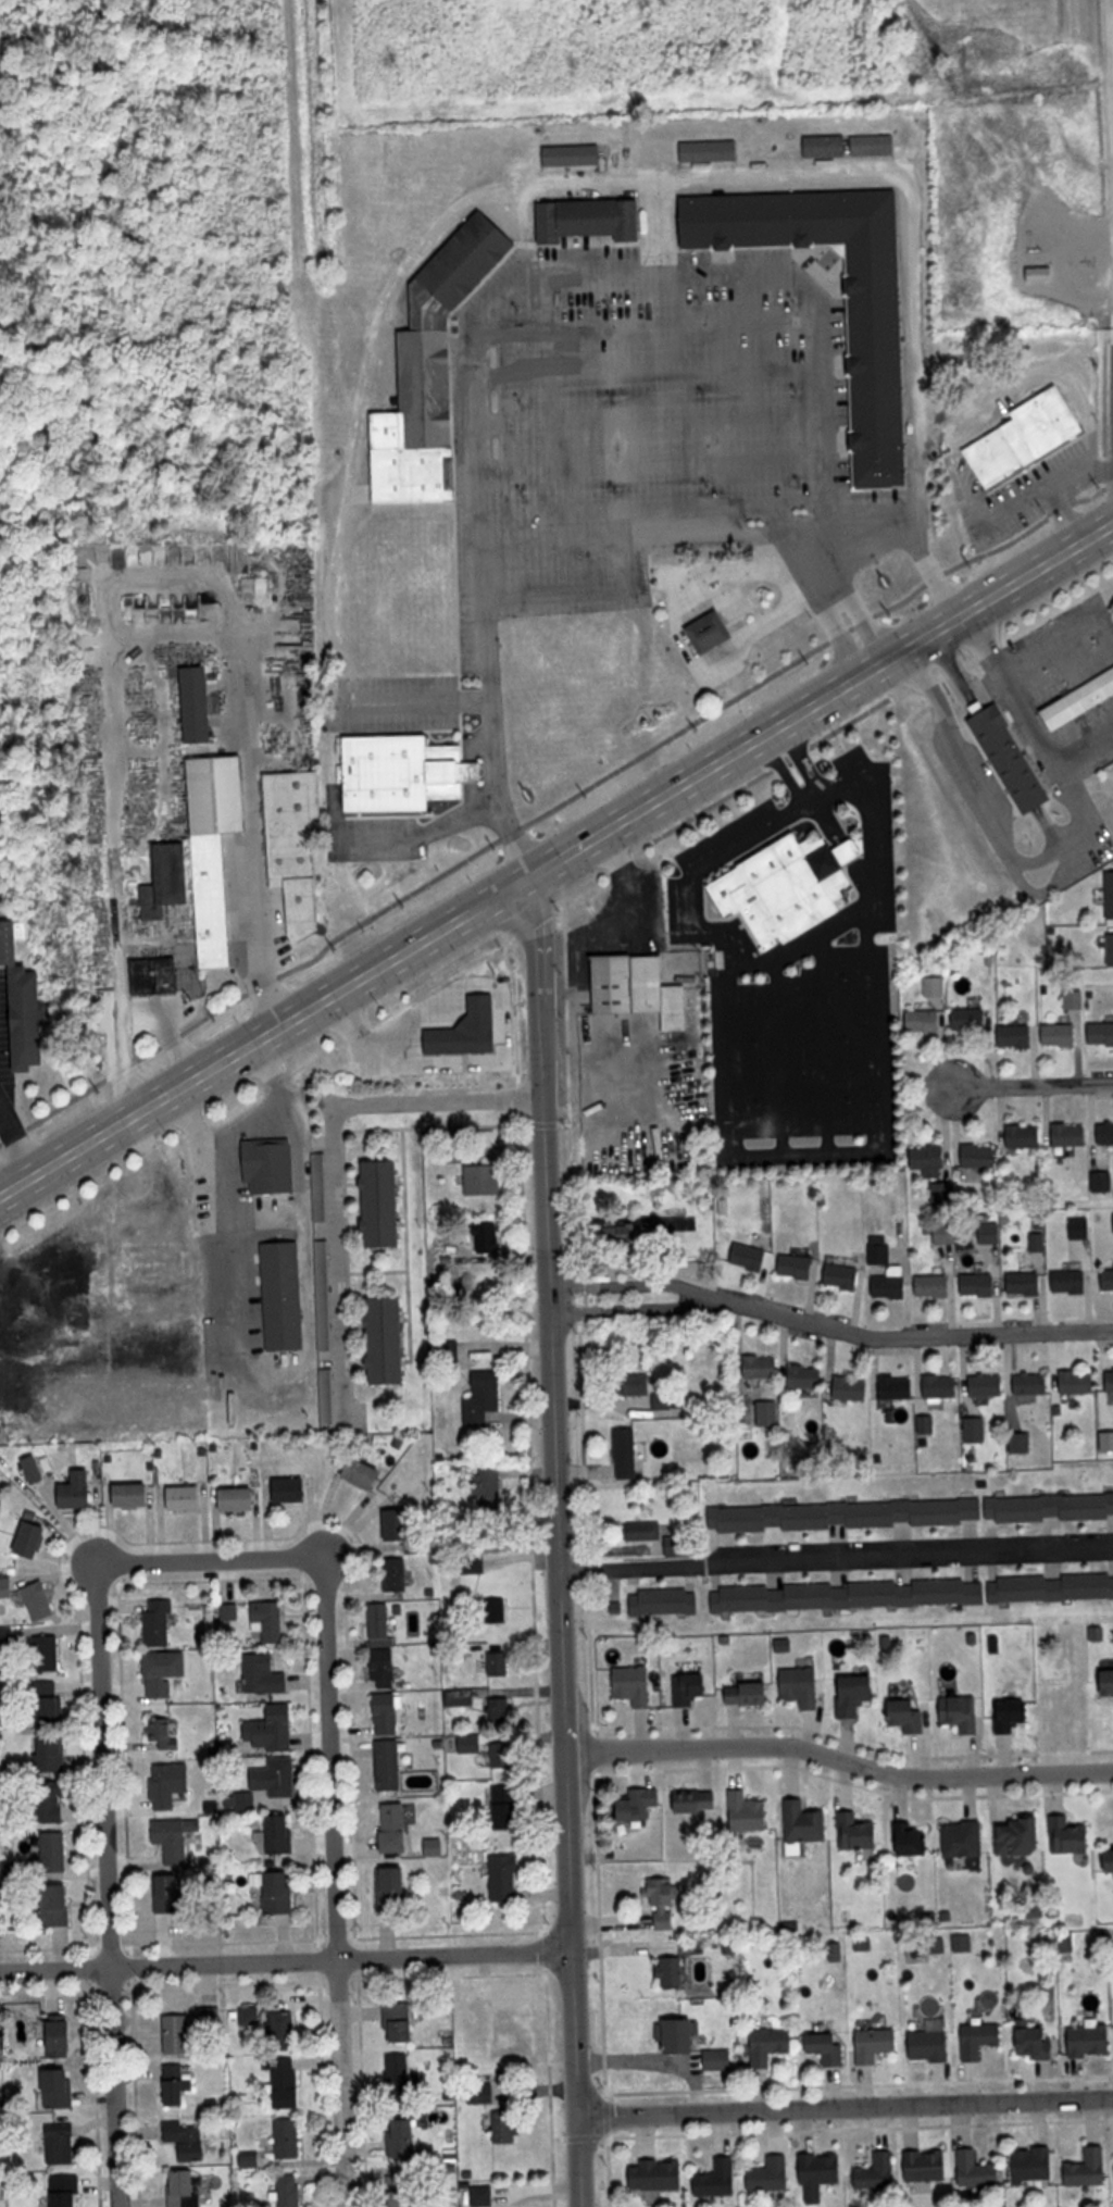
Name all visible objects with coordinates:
road: (1111, 65)
building: (827, 145)
building: (875, 145)
building: (711, 150)
building: (574, 154)
road: (850, 175)
building: (589, 219)
building: (878, 367)
building: (434, 369)
building: (1027, 438)
road: (552, 534)
building: (712, 632)
road: (142, 638)
road: (950, 657)
road: (713, 661)
building: (1079, 702)
building: (199, 706)
road: (767, 737)
building: (1012, 758)
building: (405, 773)
road: (808, 798)
building: (296, 837)
road: (1061, 848)
building: (216, 849)
road: (556, 856)
building: (168, 881)
building: (789, 886)
building: (1111, 894)
building: (1111, 946)
building: (157, 975)
road: (500, 981)
building: (640, 987)
building: (22, 1009)
building: (971, 1019)
building: (926, 1020)
building: (468, 1030)
road: (161, 1033)
building: (1101, 1033)
building: (1061, 1034)
building: (1018, 1035)
road: (1030, 1084)
road: (248, 1118)
building: (1105, 1133)
building: (1071, 1134)
building: (1025, 1135)
road: (16, 1143)
road: (806, 1155)
building: (980, 1156)
building: (929, 1157)
road: (336, 1162)
building: (271, 1165)
building: (484, 1181)
building: (1102, 1181)
building: (385, 1202)
building: (1081, 1227)
building: (991, 1232)
building: (629, 1236)
building: (491, 1237)
building: (880, 1255)
building: (751, 1256)
building: (797, 1265)
building: (843, 1275)
building: (1109, 1280)
building: (1070, 1281)
building: (1026, 1282)
building: (891, 1283)
building: (980, 1284)
building: (934, 1286)
building: (285, 1294)
road: (831, 1329)
building: (389, 1339)
road: (296, 1366)
building: (762, 1367)
building: (338, 1372)
building: (808, 1375)
building: (143, 1379)
building: (1110, 1381)
building: (1078, 1382)
building: (1033, 1384)
building: (988, 1385)
building: (853, 1386)
building: (941, 1386)
building: (898, 1387)
building: (651, 1391)
building: (485, 1399)
building: (627, 1452)
building: (364, 1472)
building: (78, 1488)
building: (489, 1488)
building: (291, 1489)
building: (134, 1494)
building: (187, 1497)
building: (240, 1499)
building: (911, 1512)
road: (320, 1518)
building: (400, 1522)
building: (646, 1532)
building: (33, 1536)
road: (561, 1541)
road: (837, 1555)
road: (201, 1559)
building: (397, 1580)
building: (7, 1586)
building: (915, 1592)
building: (40, 1600)
building: (664, 1601)
building: (496, 1610)
building: (268, 1621)
building: (159, 1622)
building: (382, 1624)
building: (48, 1653)
building: (499, 1663)
building: (386, 1668)
building: (165, 1671)
building: (265, 1674)
building: (1106, 1682)
building: (634, 1684)
building: (801, 1686)
building: (693, 1689)
building: (749, 1694)
building: (856, 1694)
building: (51, 1701)
building: (961, 1712)
building: (500, 1713)
building: (1014, 1713)
building: (908, 1715)
building: (273, 1729)
building: (165, 1733)
building: (389, 1741)
building: (52, 1755)
building: (502, 1755)
road: (839, 1760)
building: (282, 1776)
building: (171, 1784)
building: (248, 1801)
building: (51, 1805)
building: (637, 1805)
building: (509, 1807)
building: (697, 1810)
building: (751, 1815)
building: (805, 1821)
building: (397, 1828)
building: (859, 1833)
building: (280, 1835)
building: (1070, 1835)
building: (1021, 1837)
building: (176, 1838)
building: (964, 1838)
building: (914, 1840)
building: (53, 1851)
building: (1112, 1859)
building: (505, 1878)
road: (325, 1884)
road: (97, 1886)
building: (395, 1888)
building: (280, 1892)
building: (173, 1894)
building: (663, 1904)
building: (59, 1906)
road: (287, 1960)
building: (671, 1972)
building: (212, 2019)
building: (401, 2022)
building: (284, 2025)
building: (179, 2034)
building: (684, 2036)
building: (62, 2037)
building: (980, 2040)
building: (1090, 2041)
building: (877, 2043)
building: (1037, 2044)
building: (772, 2045)
building: (930, 2045)
building: (830, 2048)
road: (656, 2058)
building: (720, 2059)
building: (402, 2070)
building: (288, 2083)
building: (179, 2084)
building: (60, 2087)
road: (848, 2106)
building: (508, 2128)
building: (405, 2136)
building: (188, 2139)
building: (289, 2139)
building: (62, 2144)
building: (926, 2166)
building: (1034, 2166)
building: (1089, 2168)
building: (977, 2170)
building: (876, 2171)
building: (659, 2173)
building: (821, 2173)
building: (771, 2174)
building: (718, 2178)
building: (186, 2189)
building: (65, 2191)
building: (291, 2191)
building: (403, 2191)
building: (484, 2195)

